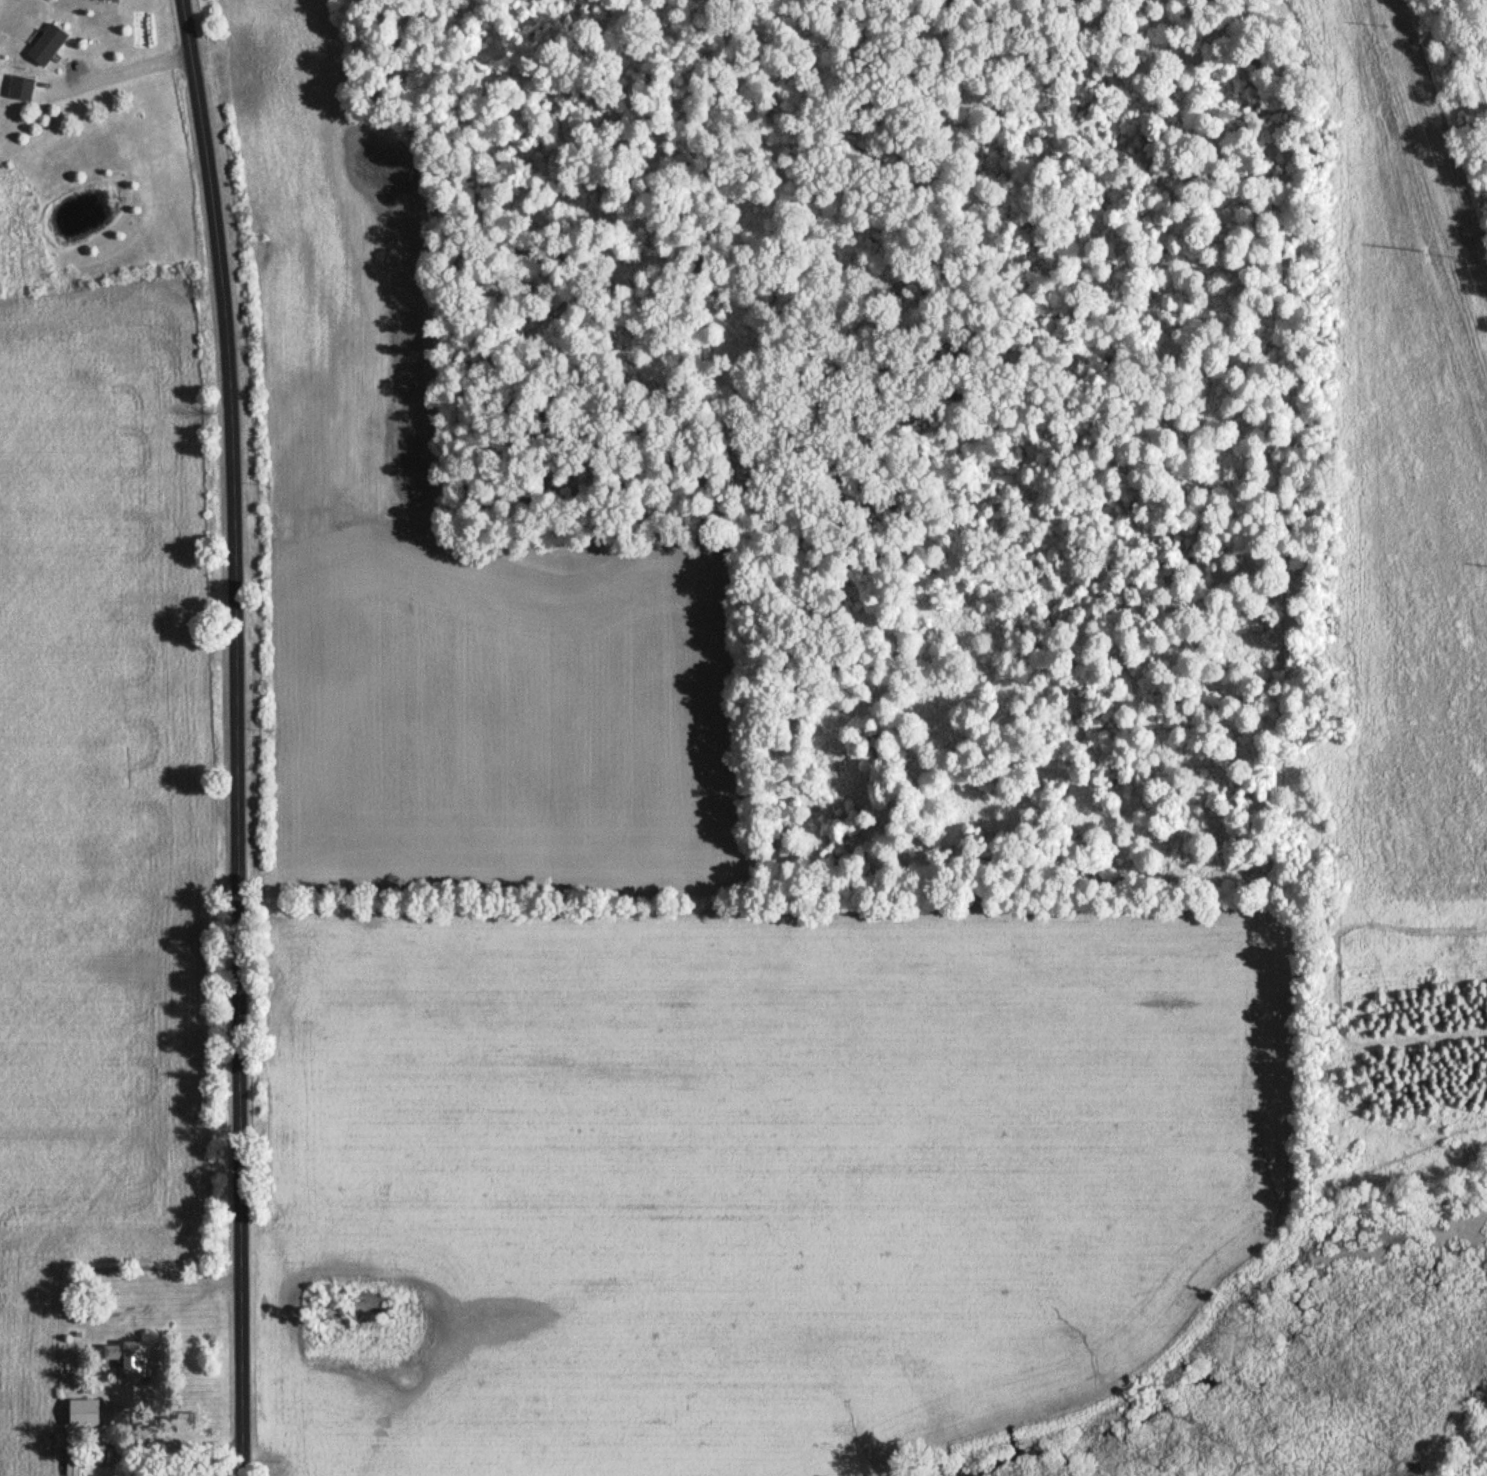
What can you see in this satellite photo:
building: (111, 0)
building: (43, 46)
road: (122, 69)
road: (236, 736)
building: (122, 1358)
road: (176, 1442)

